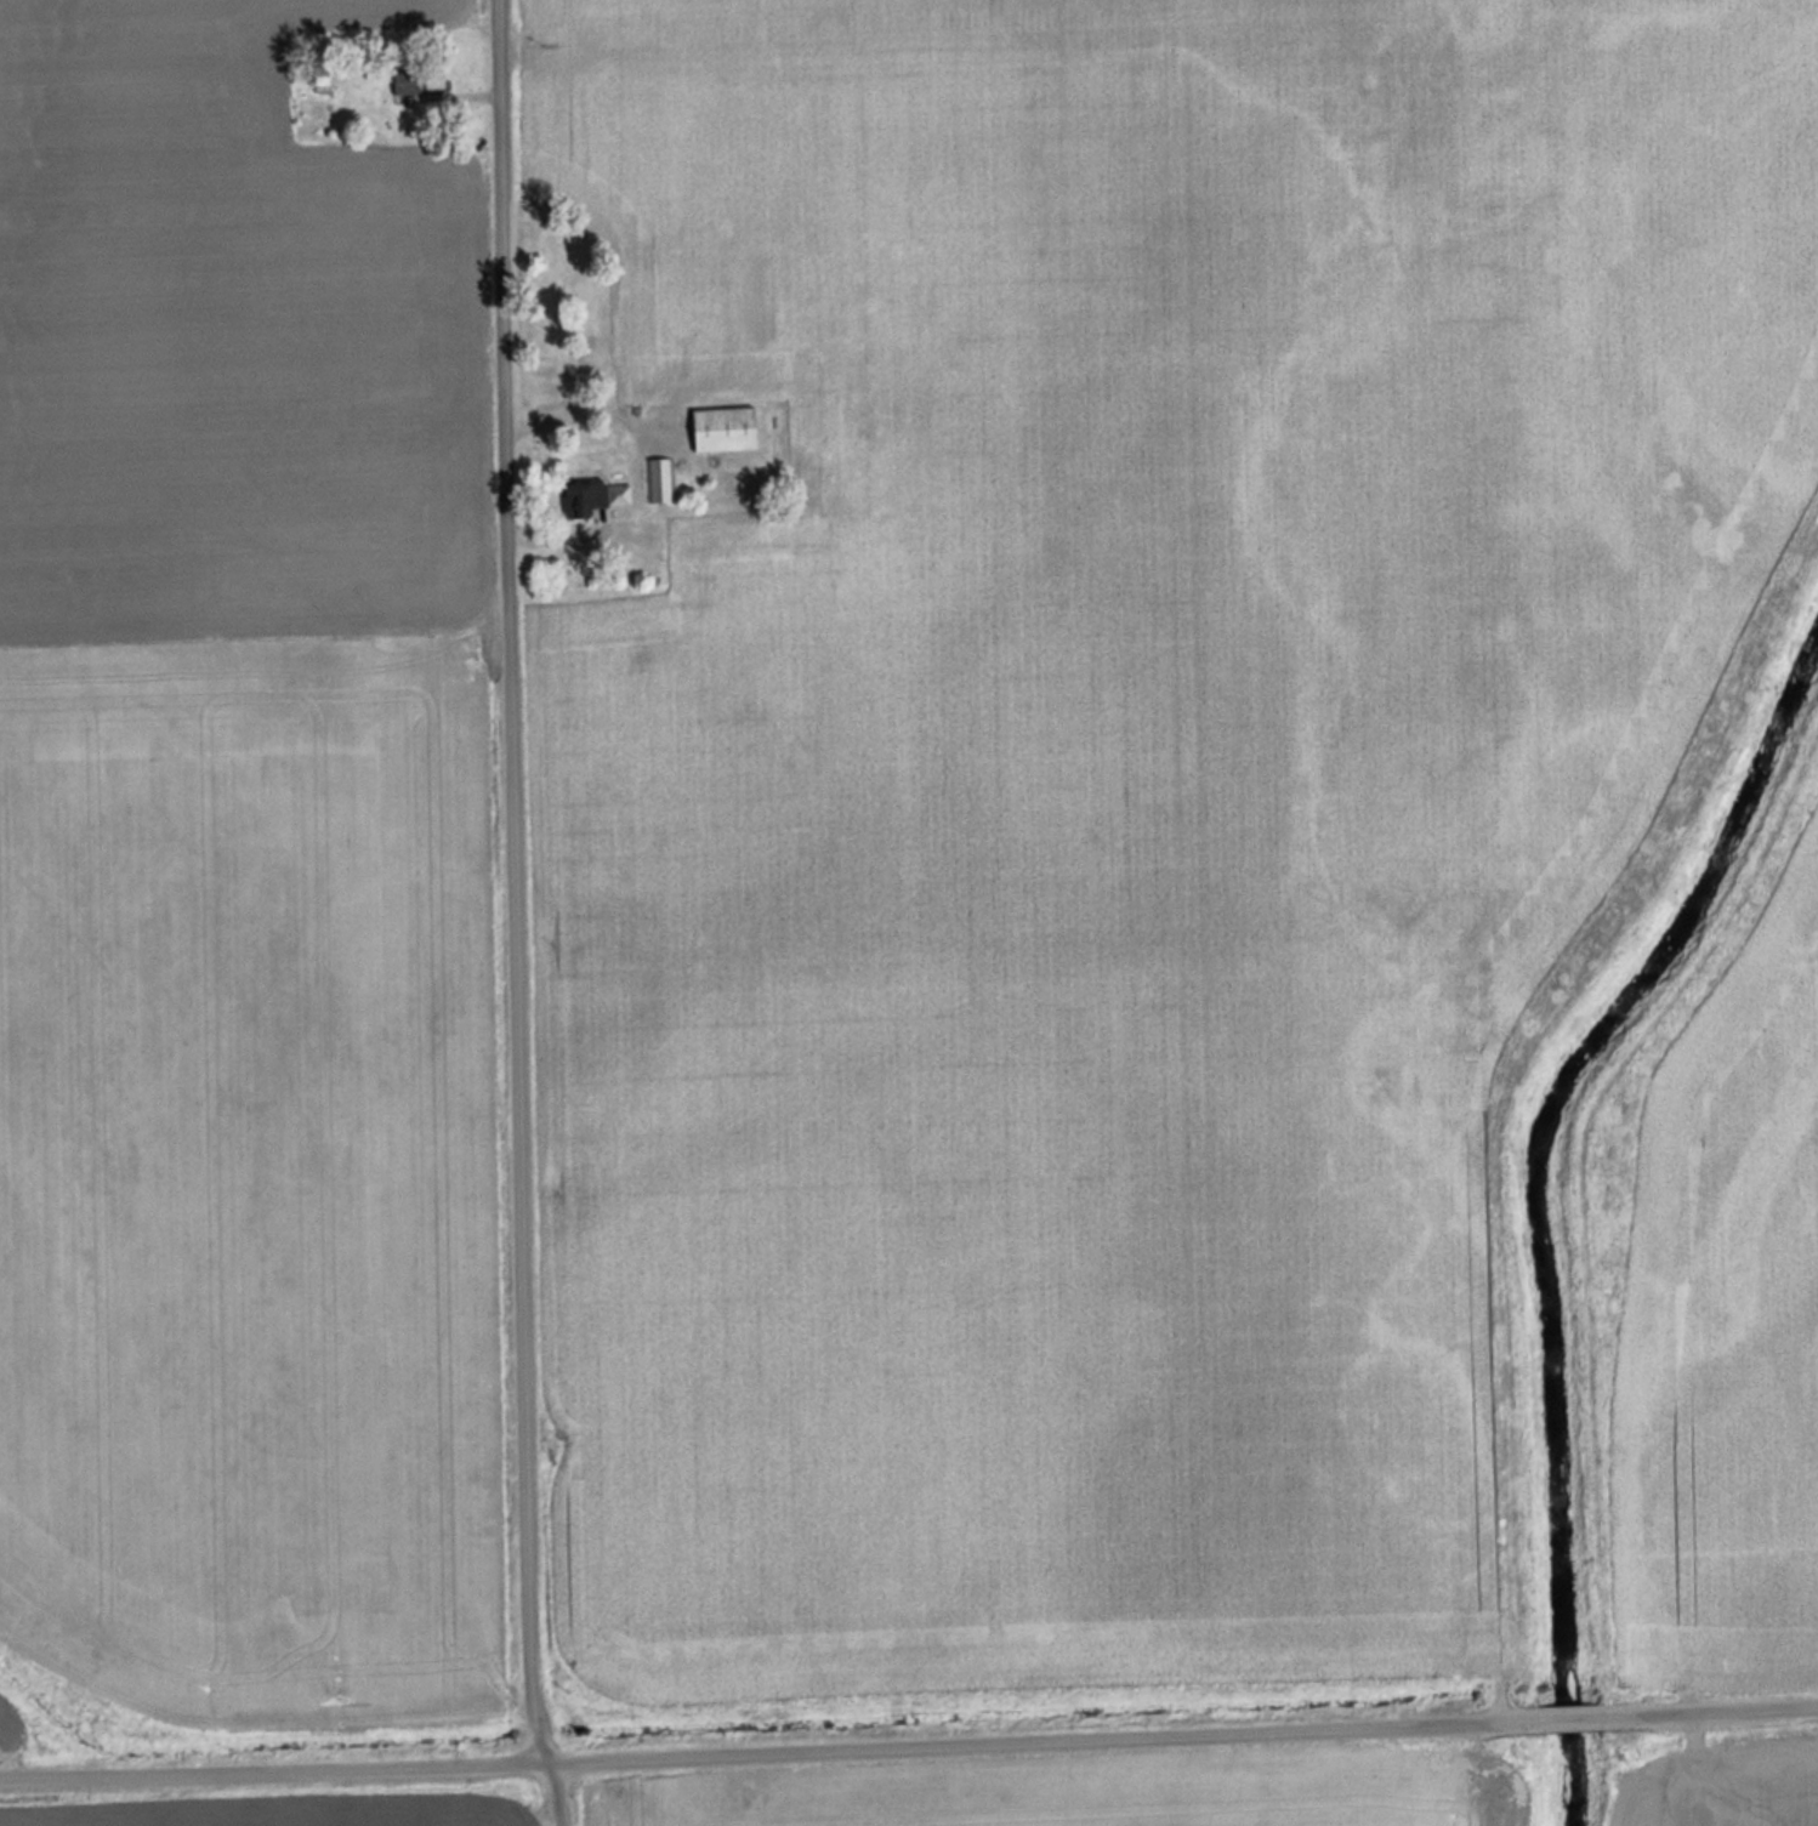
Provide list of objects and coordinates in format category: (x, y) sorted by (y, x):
building: (417, 79)
building: (721, 428)
building: (660, 478)
building: (592, 495)
road: (513, 915)
road: (1708, 1710)
road: (1568, 1717)
road: (768, 1754)

